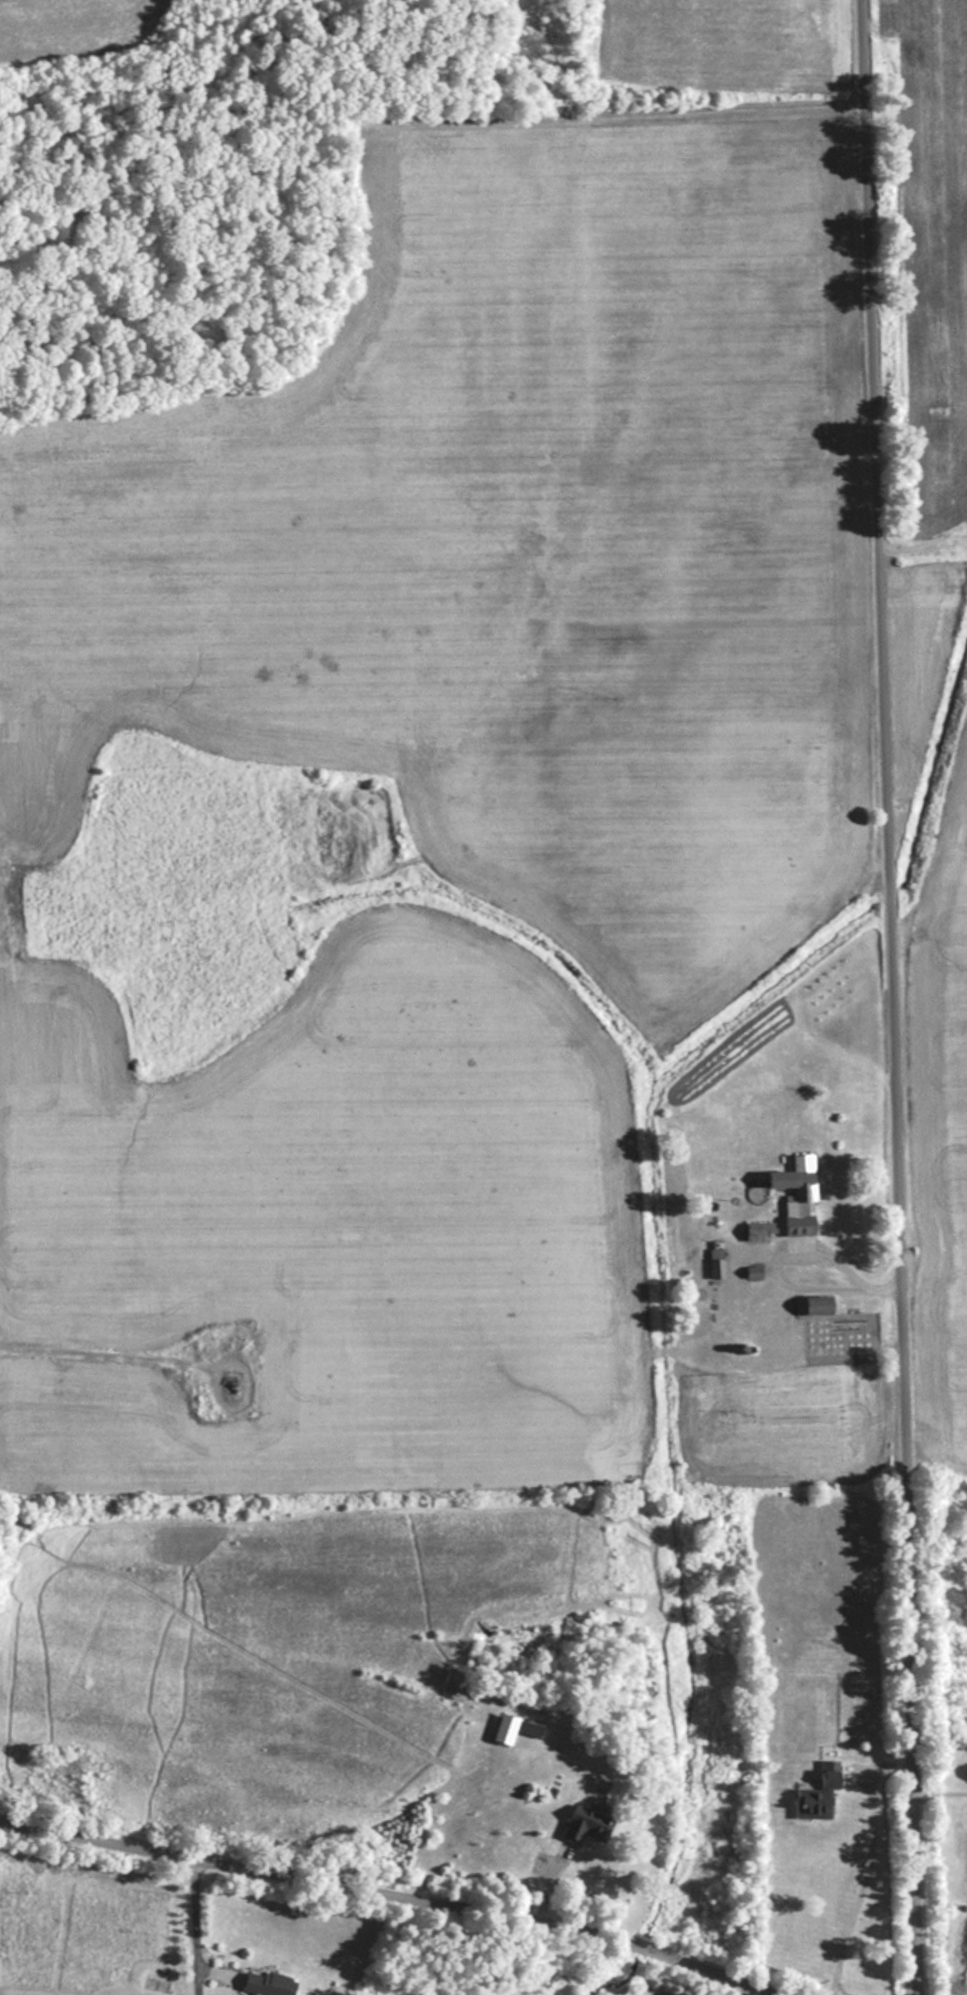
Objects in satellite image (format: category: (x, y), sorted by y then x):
road: (898, 997)
building: (826, 1082)
building: (799, 1188)
building: (756, 1232)
building: (714, 1269)
building: (813, 1307)
building: (767, 1335)
road: (105, 1358)
petroleum well: (234, 1382)
building: (577, 1619)
building: (527, 1728)
building: (813, 1795)
building: (582, 1824)
road: (380, 1899)
building: (263, 1983)

